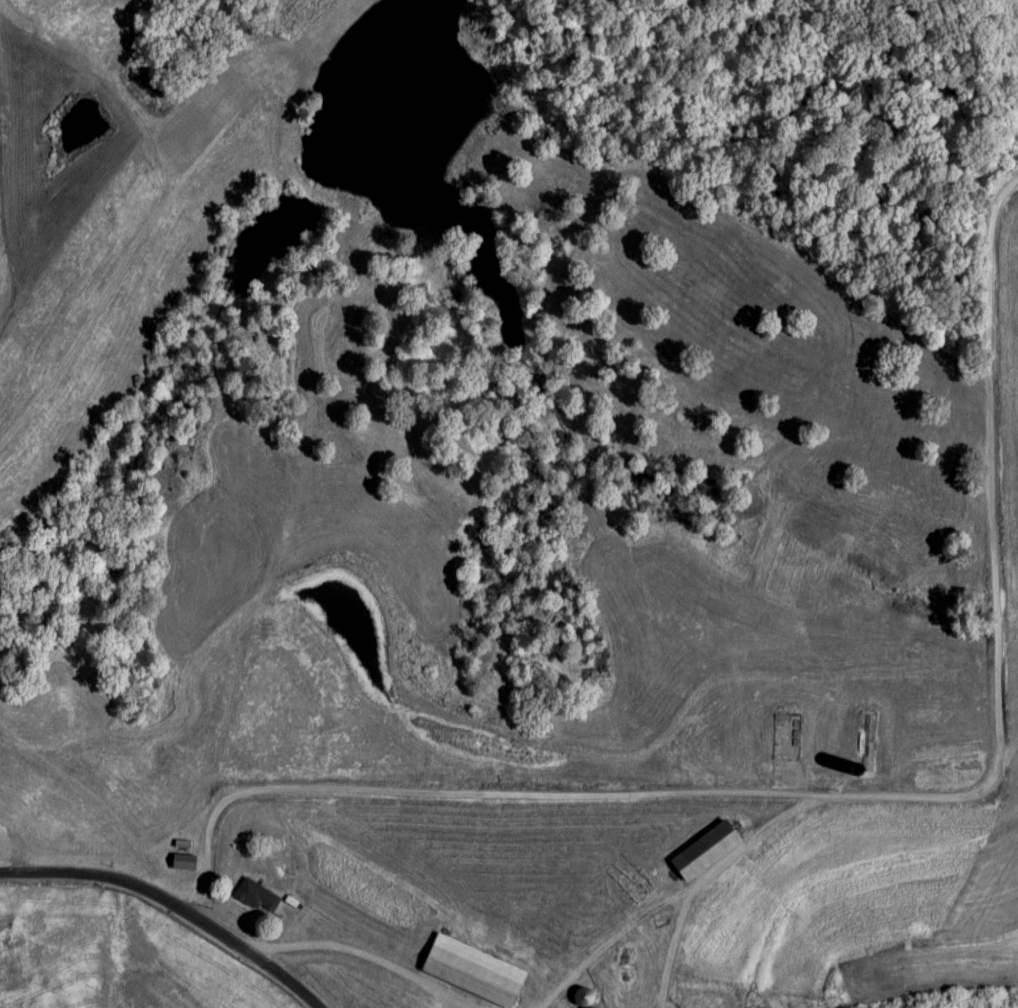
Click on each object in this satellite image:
road: (858, 794)
building: (703, 852)
building: (183, 864)
road: (169, 895)
road: (669, 896)
building: (257, 897)
road: (671, 942)
road: (361, 949)
building: (472, 972)
building: (583, 997)
road: (546, 1004)
building: (594, 1007)

